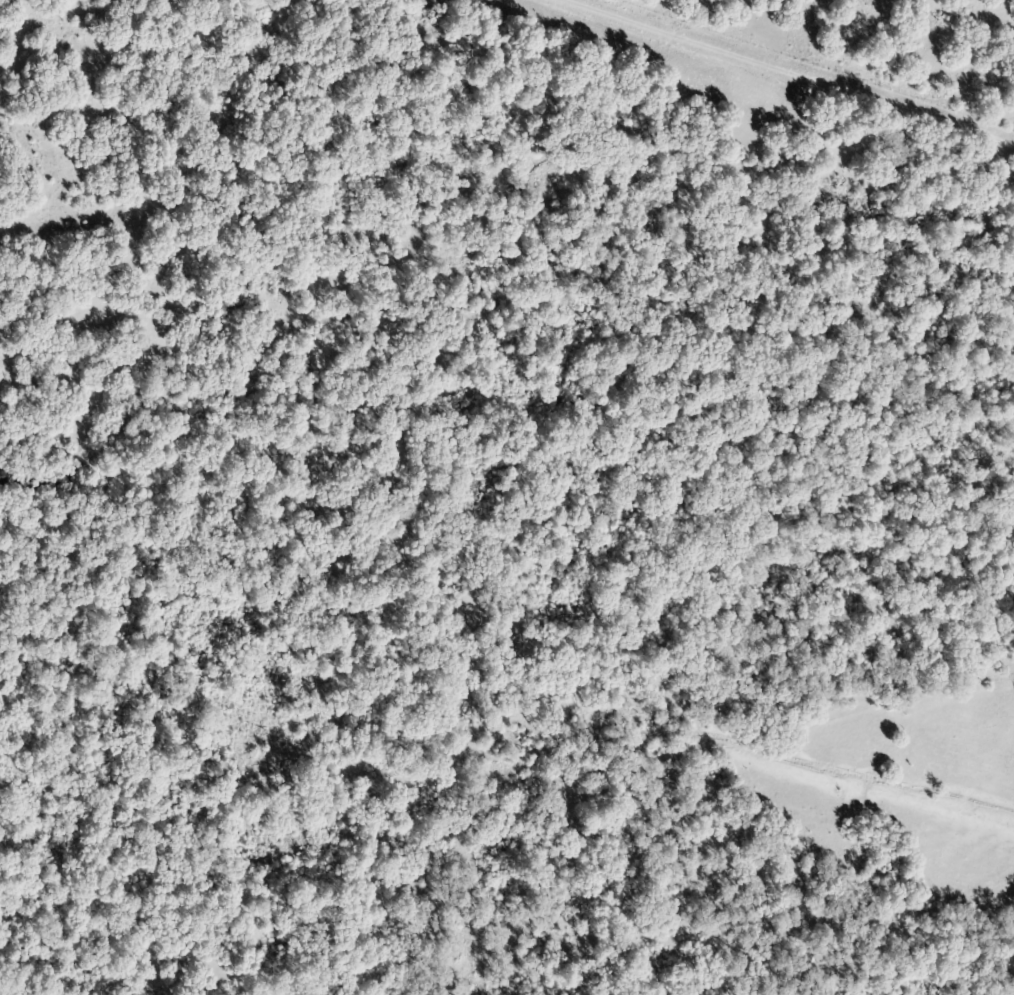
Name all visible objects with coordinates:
road: (792, 72)

